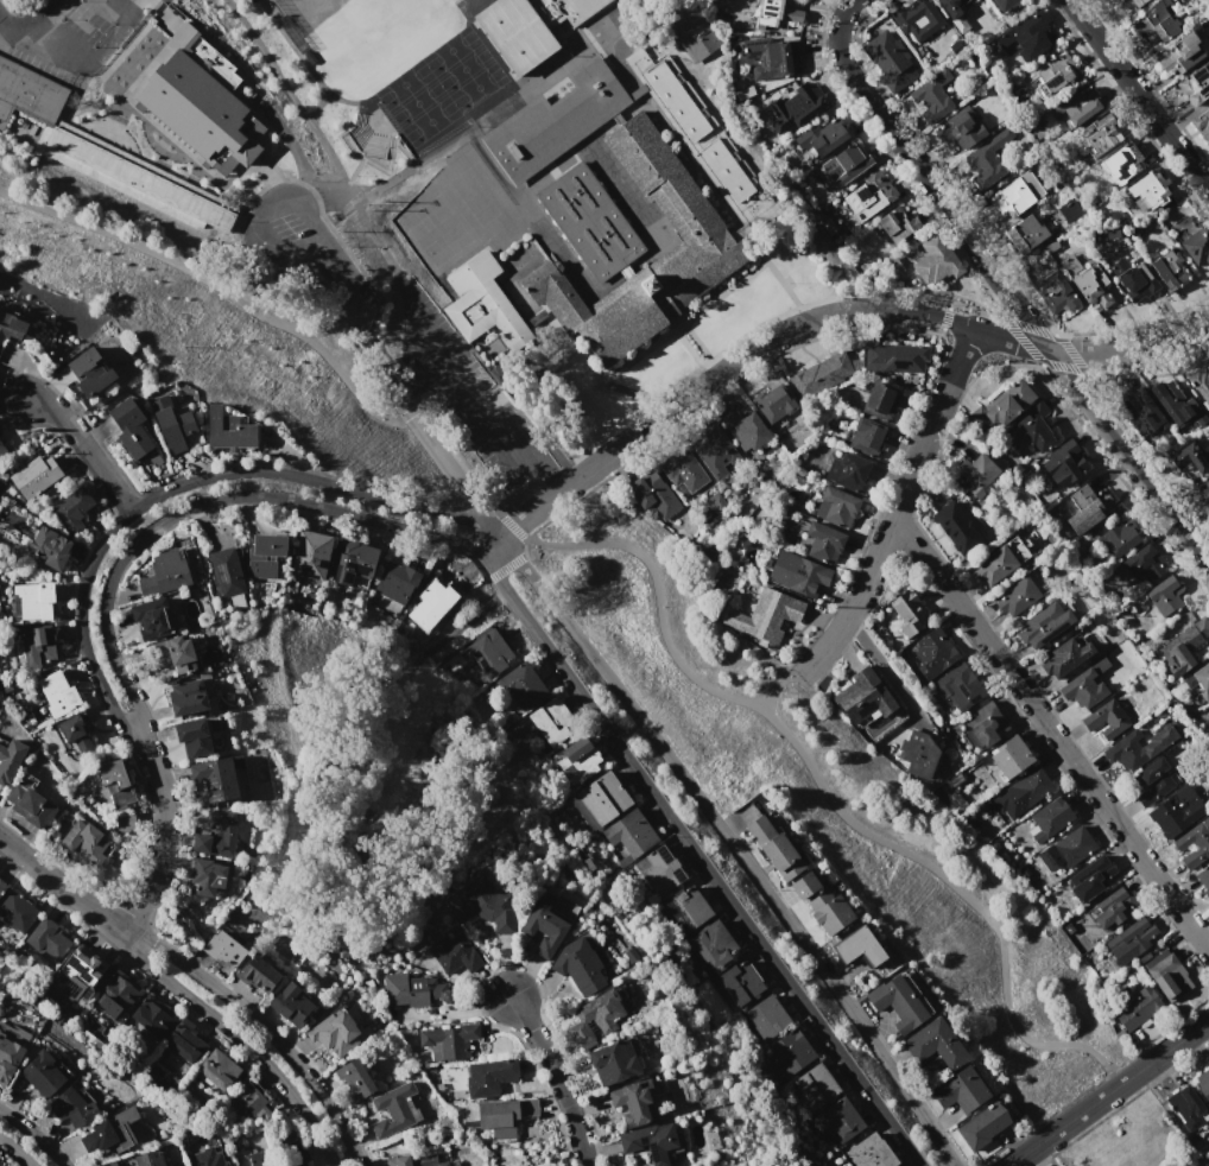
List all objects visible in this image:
building: (1005, 5)
building: (1127, 5)
road: (847, 7)
building: (951, 7)
building: (777, 14)
road: (27, 15)
building: (917, 19)
building: (1156, 21)
park: (386, 27)
building: (528, 28)
road: (110, 36)
building: (1027, 37)
road: (33, 45)
park: (366, 45)
building: (1182, 55)
building: (773, 58)
building: (888, 59)
building: (1057, 75)
building: (1195, 84)
building: (27, 93)
road: (1140, 96)
building: (932, 97)
building: (203, 106)
building: (798, 106)
building: (1076, 106)
building: (1201, 125)
road: (139, 126)
building: (960, 129)
building: (1099, 135)
building: (822, 138)
building: (986, 160)
building: (844, 163)
building: (1121, 163)
building: (139, 178)
building: (1150, 189)
building: (869, 196)
building: (1015, 196)
building: (1070, 209)
building: (608, 216)
building: (898, 224)
building: (1025, 234)
road: (267, 241)
building: (1196, 246)
building: (936, 261)
building: (1169, 268)
building: (1138, 284)
building: (1093, 286)
road: (219, 287)
building: (1055, 292)
road: (1011, 298)
road: (863, 308)
road: (414, 310)
building: (12, 323)
road: (365, 334)
building: (894, 356)
road: (428, 357)
building: (89, 372)
building: (822, 374)
building: (1201, 385)
road: (411, 386)
building: (881, 400)
building: (774, 404)
building: (1001, 406)
road: (483, 407)
building: (1178, 407)
building: (1144, 413)
building: (175, 424)
building: (1036, 426)
building: (131, 427)
building: (228, 431)
building: (746, 431)
building: (866, 436)
road: (426, 443)
road: (83, 445)
building: (1, 449)
building: (717, 454)
building: (1191, 458)
building: (1063, 463)
building: (683, 471)
building: (848, 471)
building: (976, 474)
building: (36, 475)
road: (551, 477)
road: (178, 484)
building: (1204, 493)
building: (652, 494)
road: (898, 502)
road: (197, 503)
building: (836, 506)
building: (72, 508)
building: (1088, 508)
road: (524, 515)
building: (954, 526)
building: (1118, 538)
building: (824, 541)
building: (49, 547)
building: (265, 553)
building: (310, 555)
building: (353, 563)
building: (1145, 564)
building: (994, 565)
road: (492, 566)
building: (165, 572)
building: (797, 574)
building: (227, 576)
building: (397, 582)
building: (1165, 594)
building: (1018, 596)
building: (31, 602)
building: (428, 608)
building: (909, 611)
building: (766, 616)
building: (152, 620)
road: (461, 622)
building: (1045, 625)
building: (37, 646)
building: (1185, 648)
building: (492, 653)
building: (933, 653)
building: (171, 654)
building: (1065, 657)
road: (885, 670)
building: (1199, 679)
road: (781, 683)
building: (1085, 685)
building: (521, 686)
building: (958, 687)
building: (58, 693)
building: (863, 696)
building: (188, 697)
building: (1106, 718)
building: (552, 721)
building: (986, 723)
building: (81, 728)
road: (1051, 733)
building: (195, 739)
building: (1121, 748)
building: (919, 753)
building: (1011, 756)
building: (10, 760)
building: (577, 760)
road: (816, 775)
building: (215, 779)
building: (1153, 780)
building: (116, 782)
building: (1023, 792)
building: (950, 793)
building: (603, 798)
building: (30, 803)
park: (368, 805)
building: (1176, 811)
building: (1049, 818)
building: (632, 836)
building: (217, 837)
building: (86, 841)
road: (732, 843)
building: (1194, 843)
road: (160, 845)
building: (1074, 845)
building: (777, 849)
building: (659, 870)
building: (205, 876)
road: (711, 877)
building: (1090, 879)
building: (1203, 880)
building: (1, 886)
road: (59, 887)
building: (811, 889)
building: (483, 904)
building: (695, 905)
building: (1112, 908)
building: (17, 911)
building: (831, 914)
building: (549, 923)
building: (39, 936)
building: (1131, 940)
building: (713, 945)
building: (860, 946)
building: (223, 948)
building: (455, 953)
building: (631, 955)
building: (580, 965)
building: (258, 974)
building: (1167, 975)
building: (74, 978)
building: (741, 982)
building: (120, 989)
building: (413, 990)
building: (899, 1002)
building: (291, 1005)
building: (1138, 1008)
building: (154, 1014)
building: (596, 1016)
building: (768, 1016)
road: (262, 1026)
building: (335, 1033)
building: (185, 1040)
road: (238, 1040)
building: (449, 1041)
building: (936, 1044)
building: (791, 1052)
building: (8, 1059)
building: (614, 1062)
building: (219, 1070)
building: (44, 1072)
building: (489, 1077)
road: (557, 1077)
building: (354, 1081)
building: (1203, 1083)
building: (816, 1086)
road: (1119, 1086)
building: (962, 1090)
road: (1108, 1092)
building: (254, 1101)
building: (634, 1103)
building: (74, 1107)
building: (1186, 1108)
building: (394, 1110)
building: (504, 1117)
building: (837, 1121)
building: (982, 1126)
building: (110, 1133)
road: (34, 1135)
road: (1145, 1136)
building: (651, 1141)
park: (1132, 1141)
road: (15, 1152)
building: (871, 1153)
building: (208, 1158)
building: (259, 1158)
building: (147, 1159)
building: (429, 1160)
building: (398, 1161)
building: (109, 1164)
building: (299, 1164)

